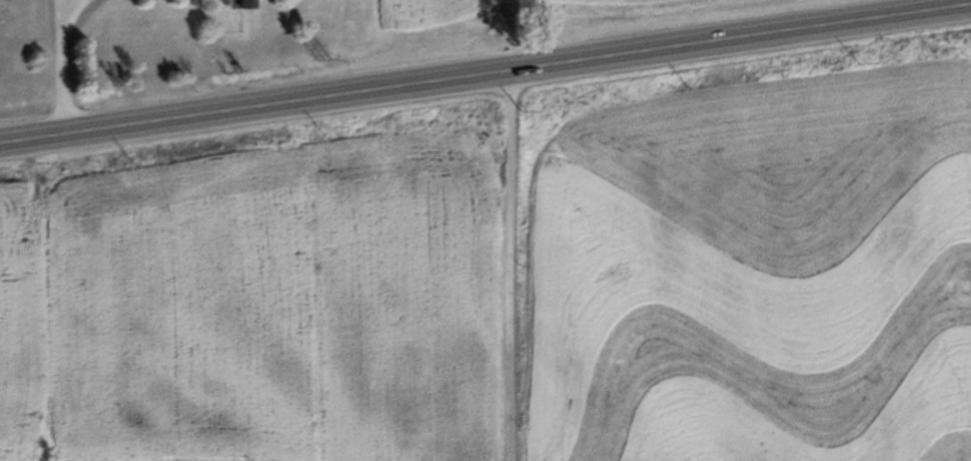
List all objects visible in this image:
building: (244, 4)
road: (485, 72)
road: (513, 264)

